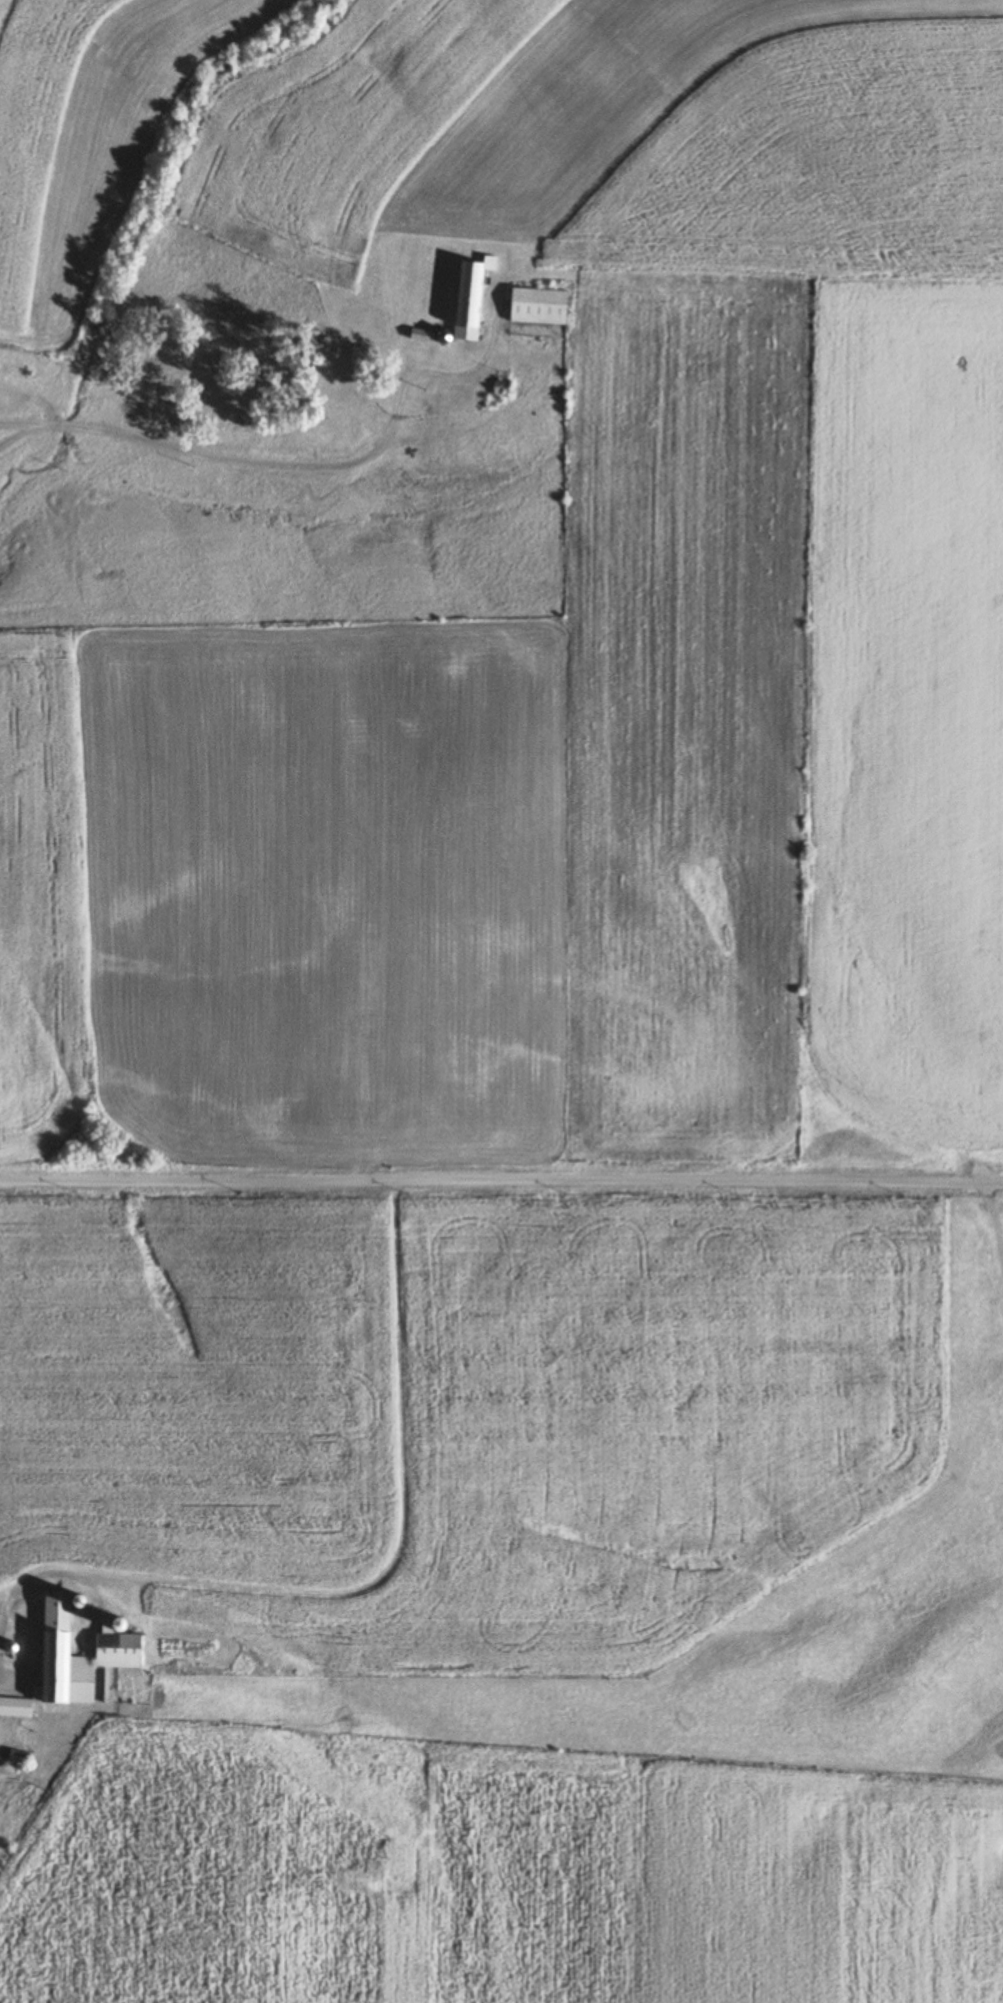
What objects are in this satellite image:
building: (467, 297)
building: (535, 306)
building: (326, 384)
road: (181, 467)
road: (501, 1182)
road: (23, 1646)
building: (74, 1652)
road: (4, 1671)
road: (4, 1679)
building: (14, 1708)

